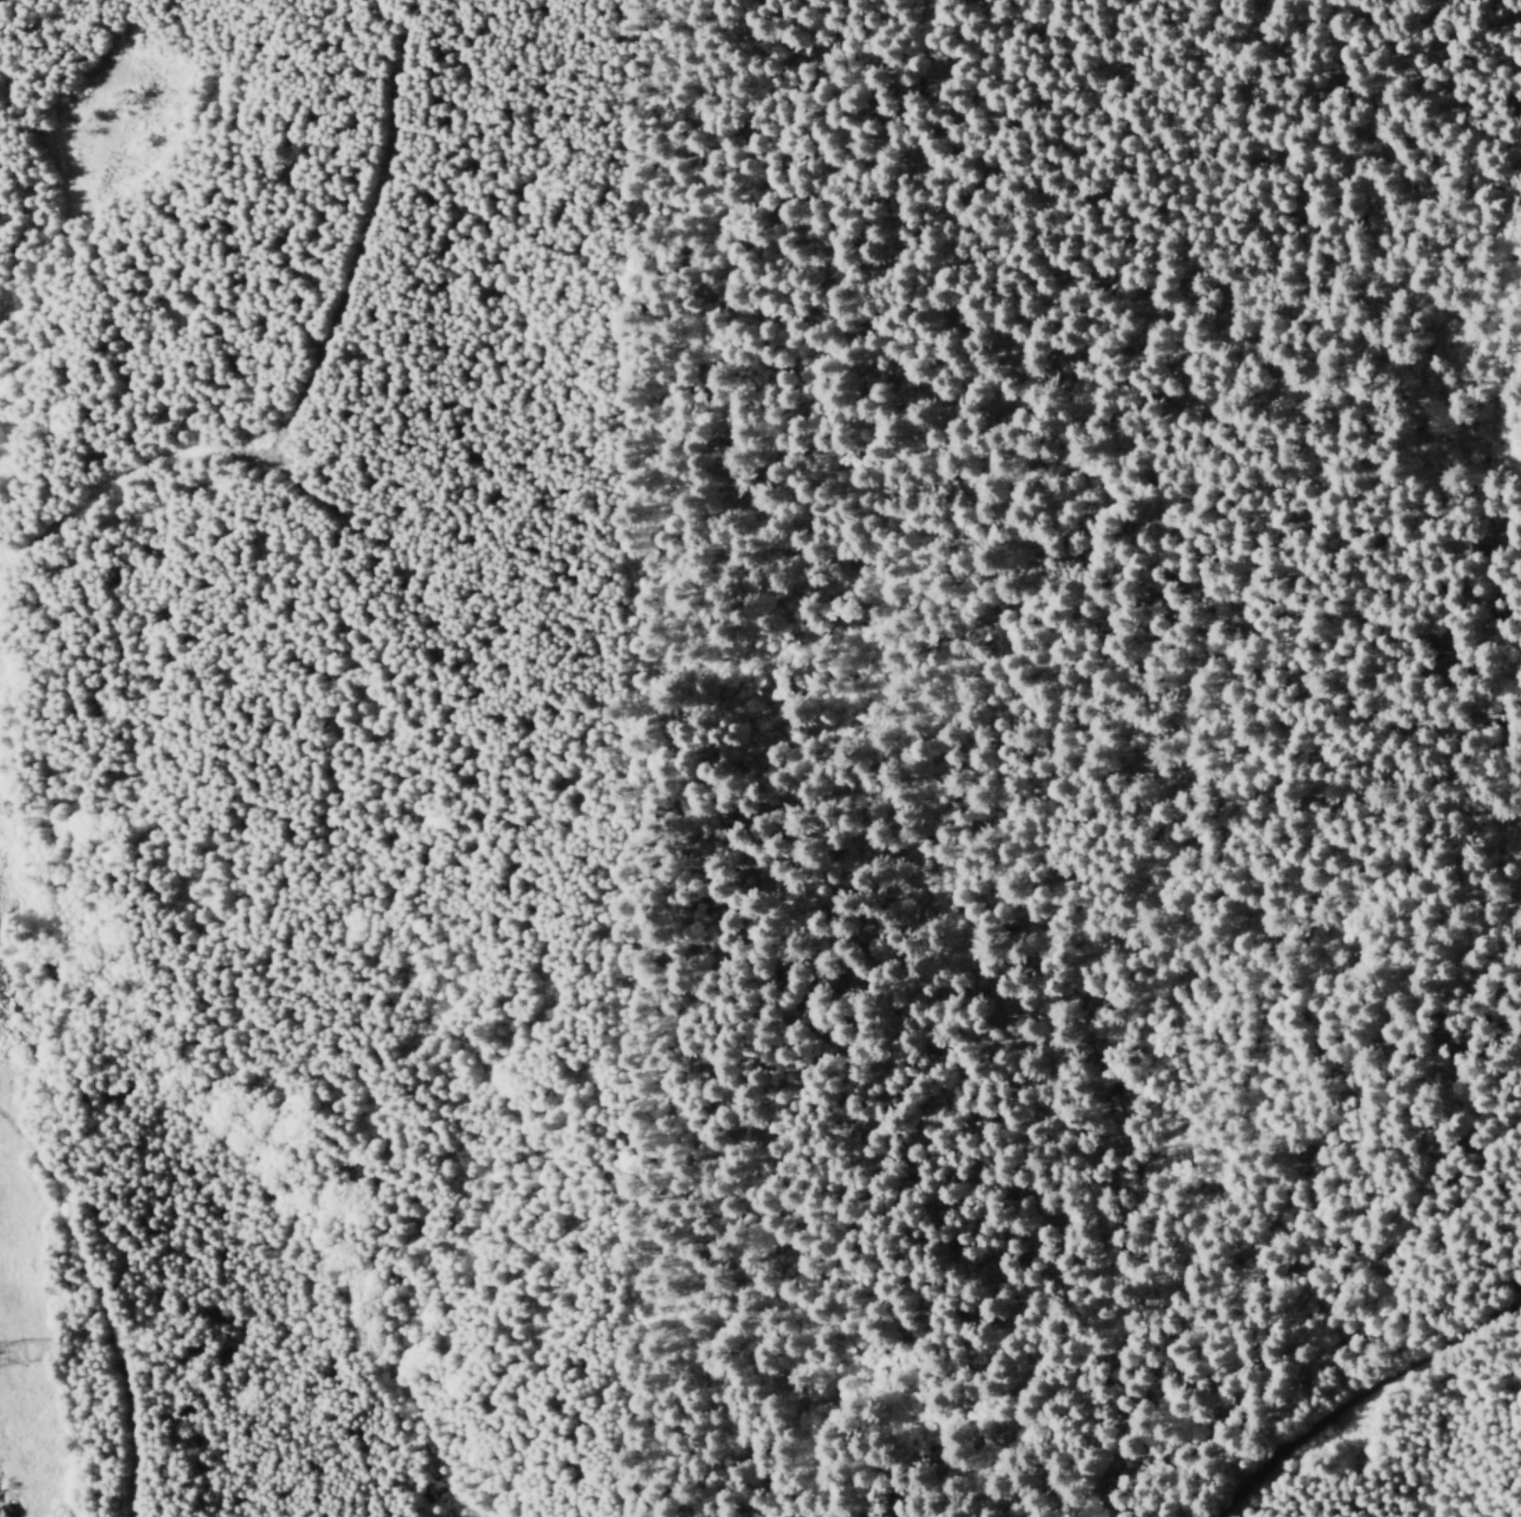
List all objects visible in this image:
power tower: (16, 1352)

